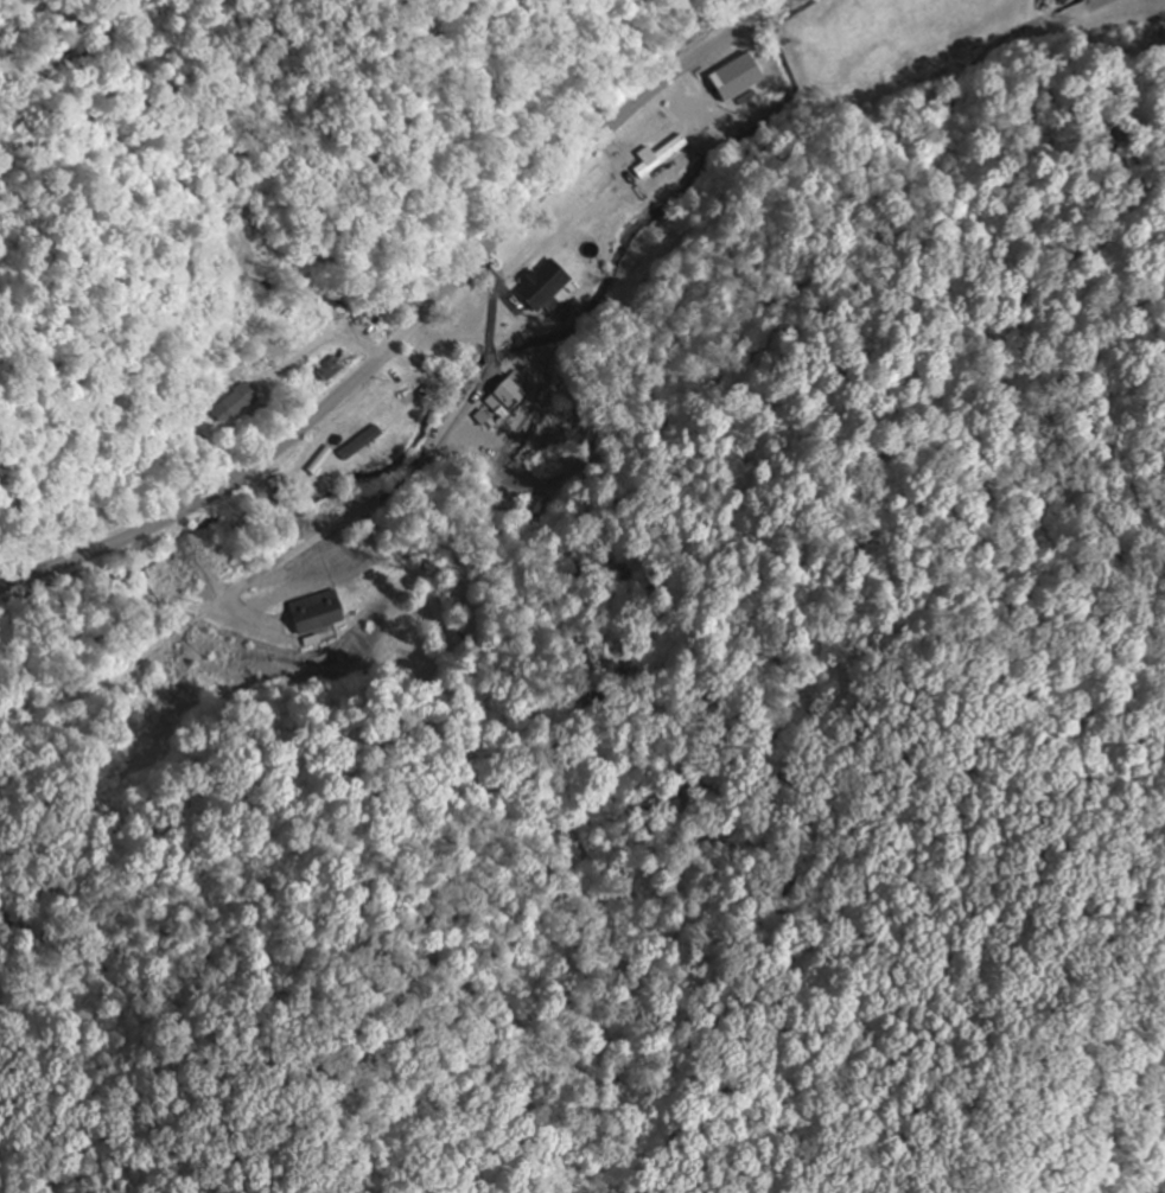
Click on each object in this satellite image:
building: (662, 155)
building: (553, 291)
road: (412, 327)
building: (507, 400)
building: (363, 444)
building: (320, 613)

